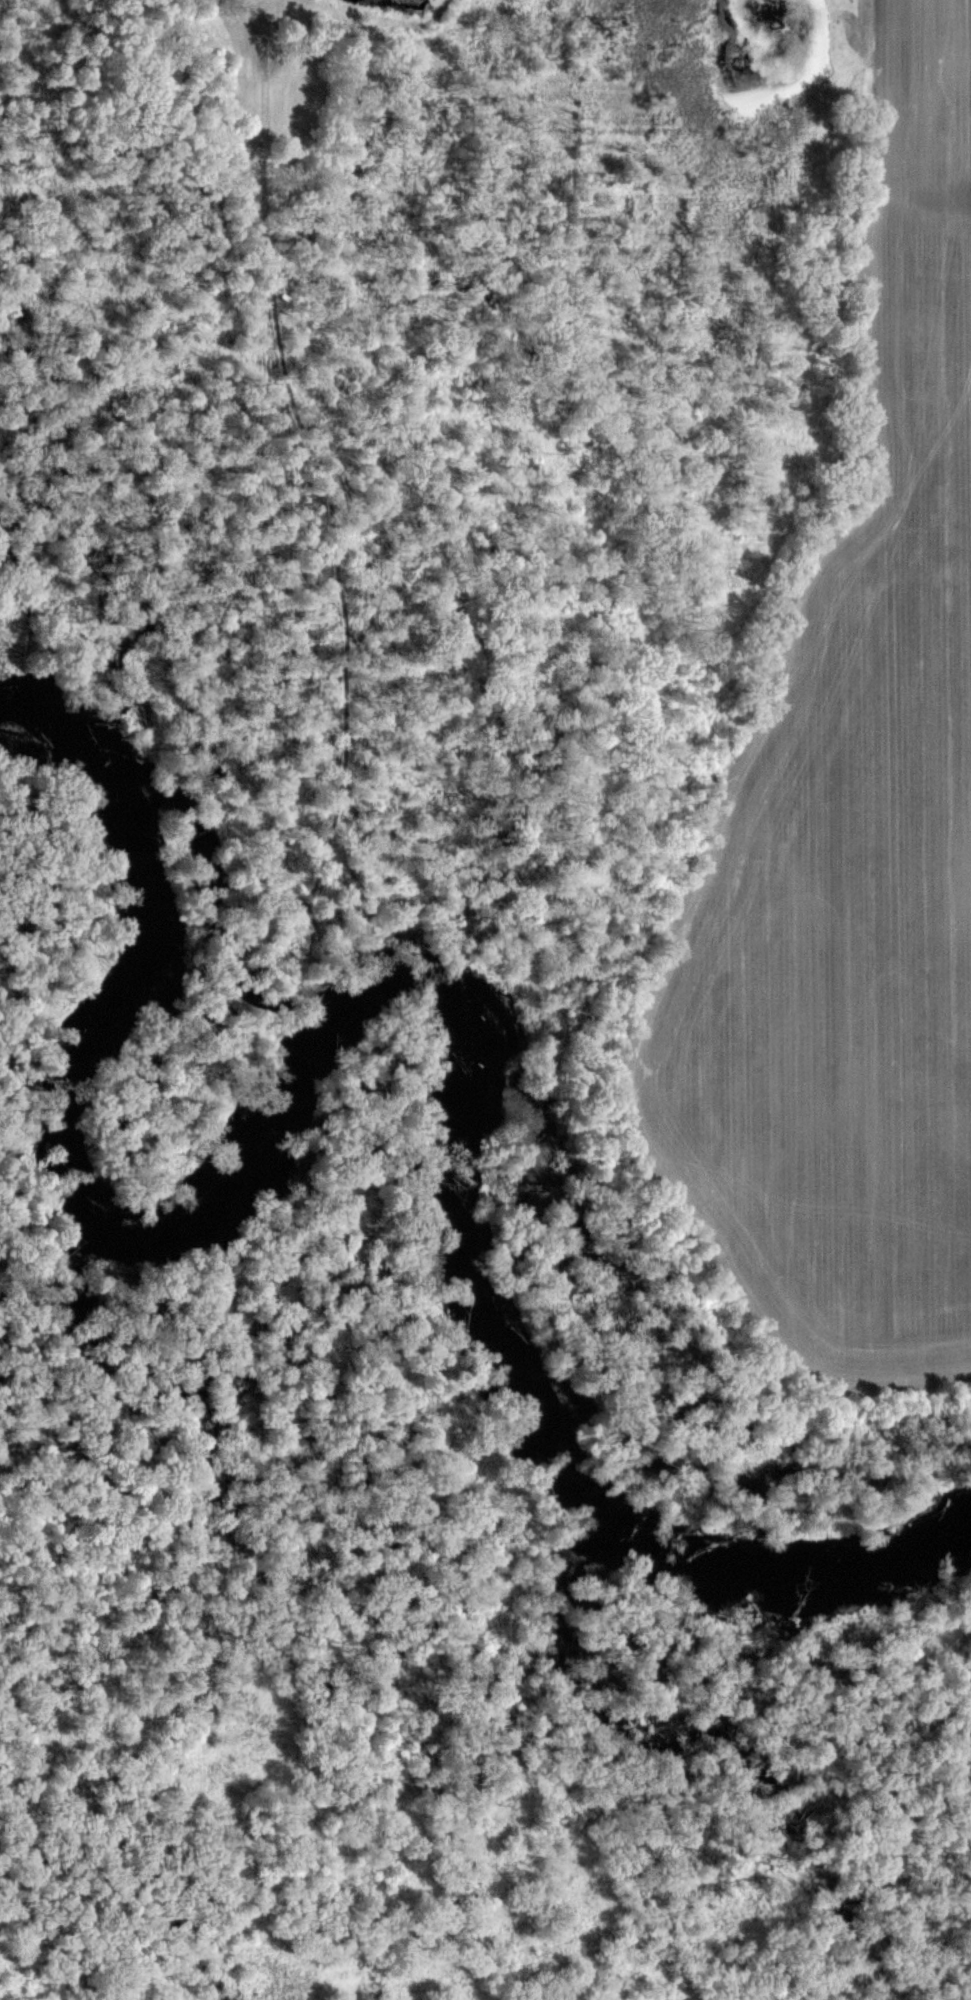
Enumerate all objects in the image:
river: (372, 992)

